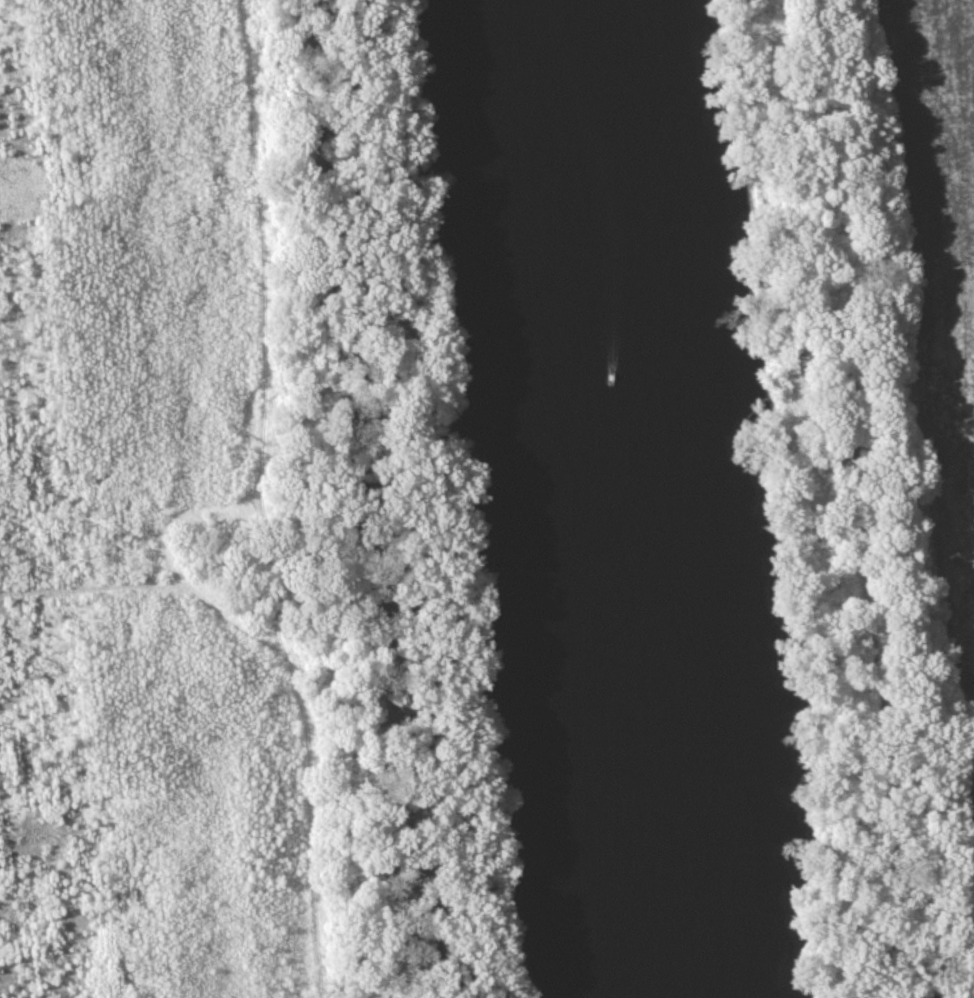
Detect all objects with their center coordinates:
river: (628, 497)

